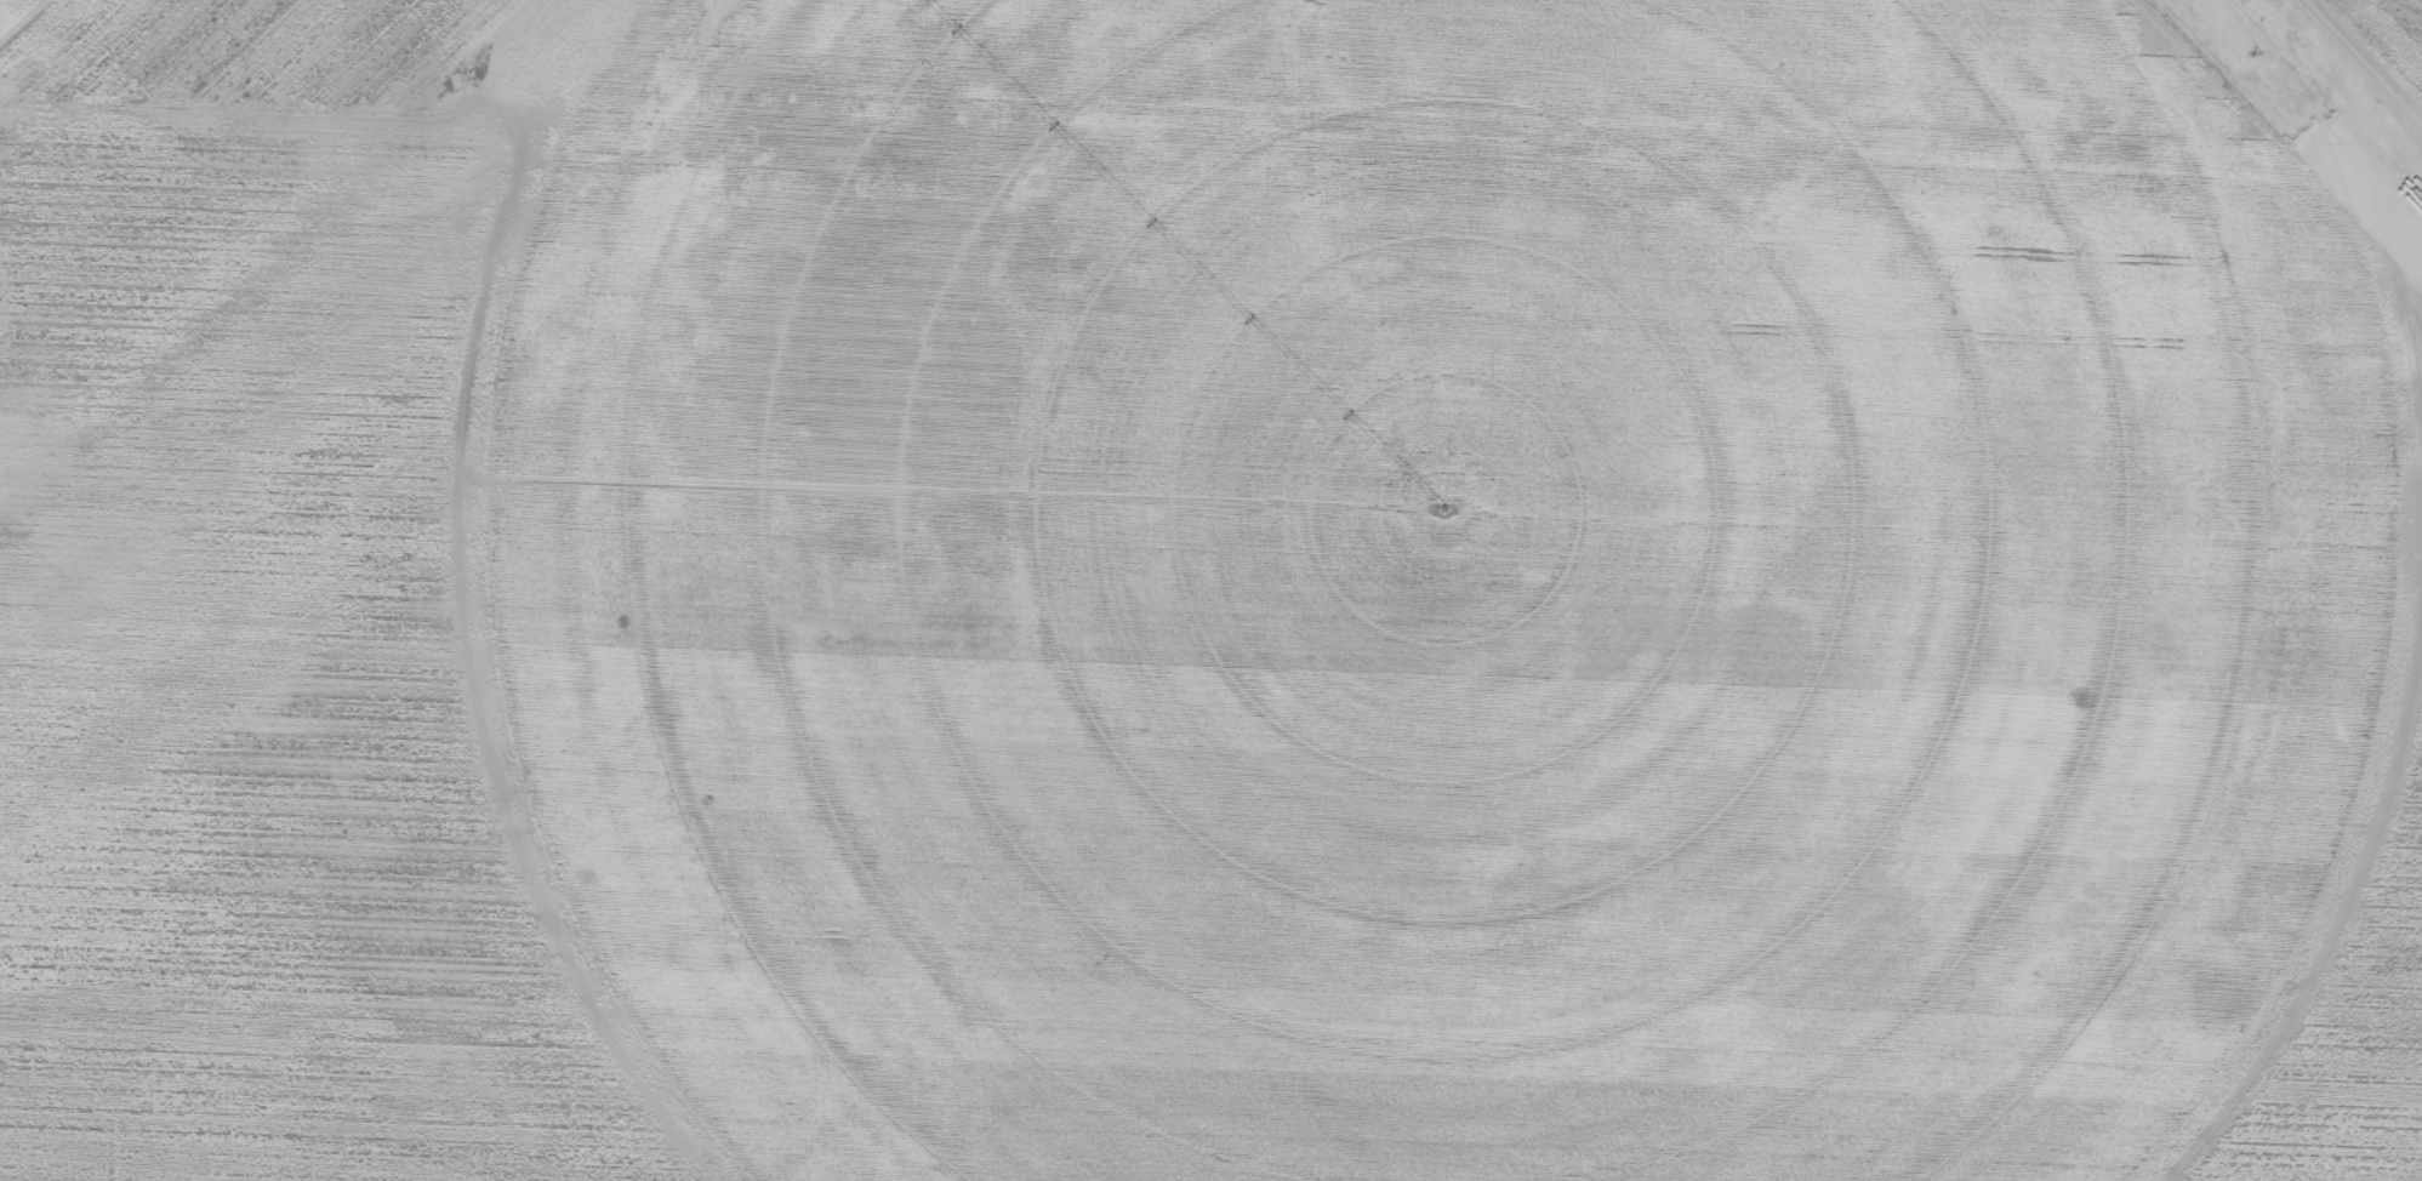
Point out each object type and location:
crop: (1408, 576)
airport: (1210, 590)
building: (777, 627)

